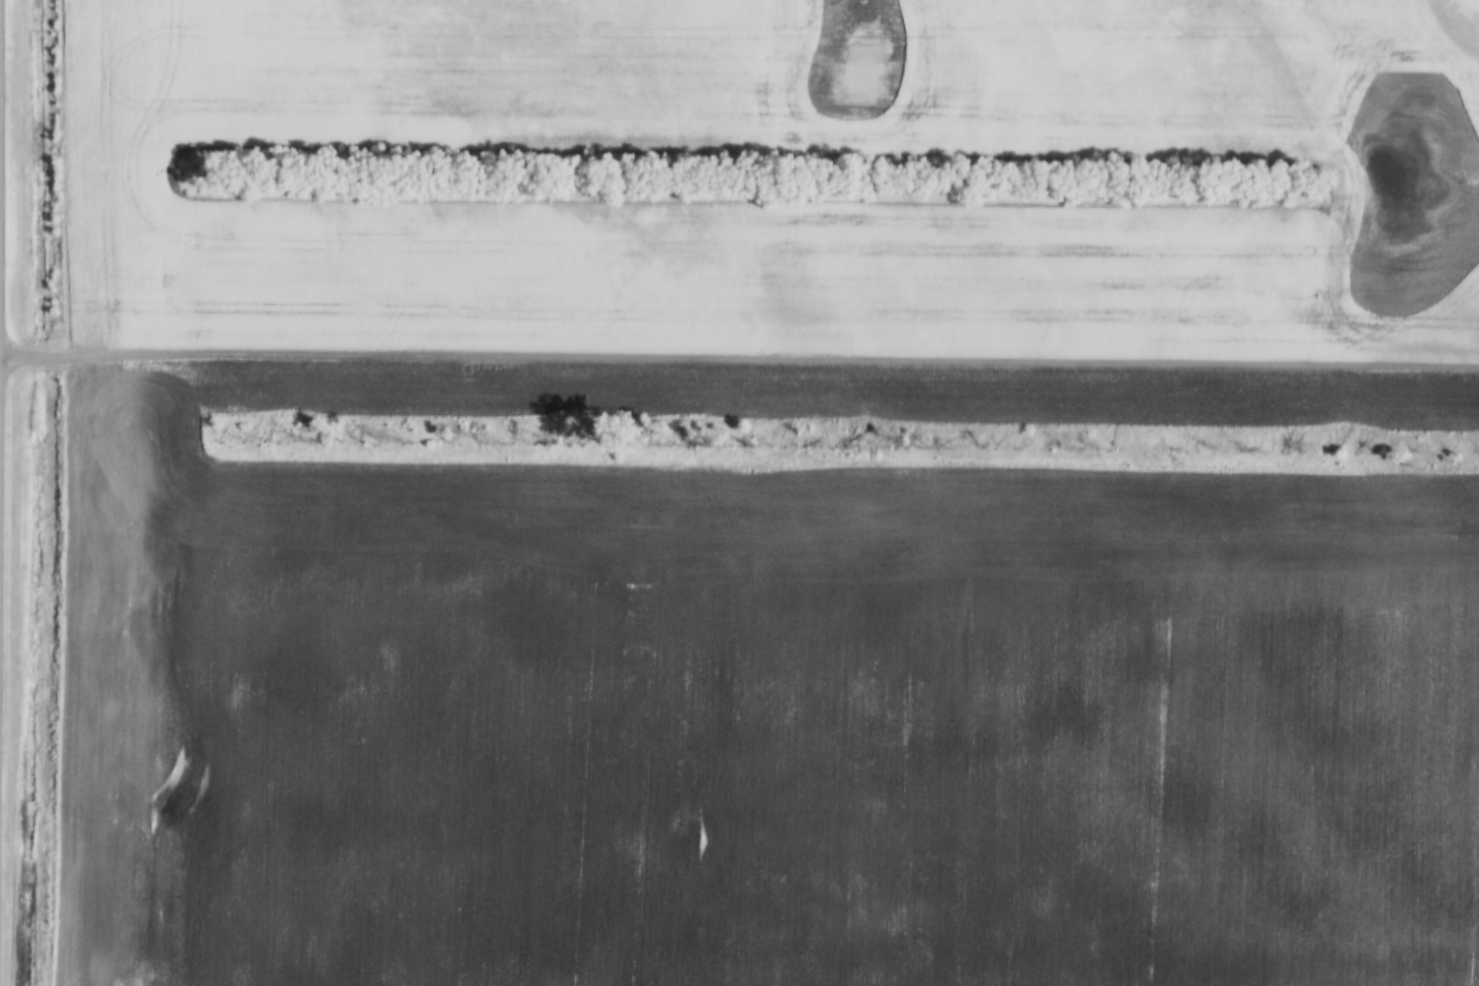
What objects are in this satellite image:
quarry: (1378, 155)
road: (739, 363)

